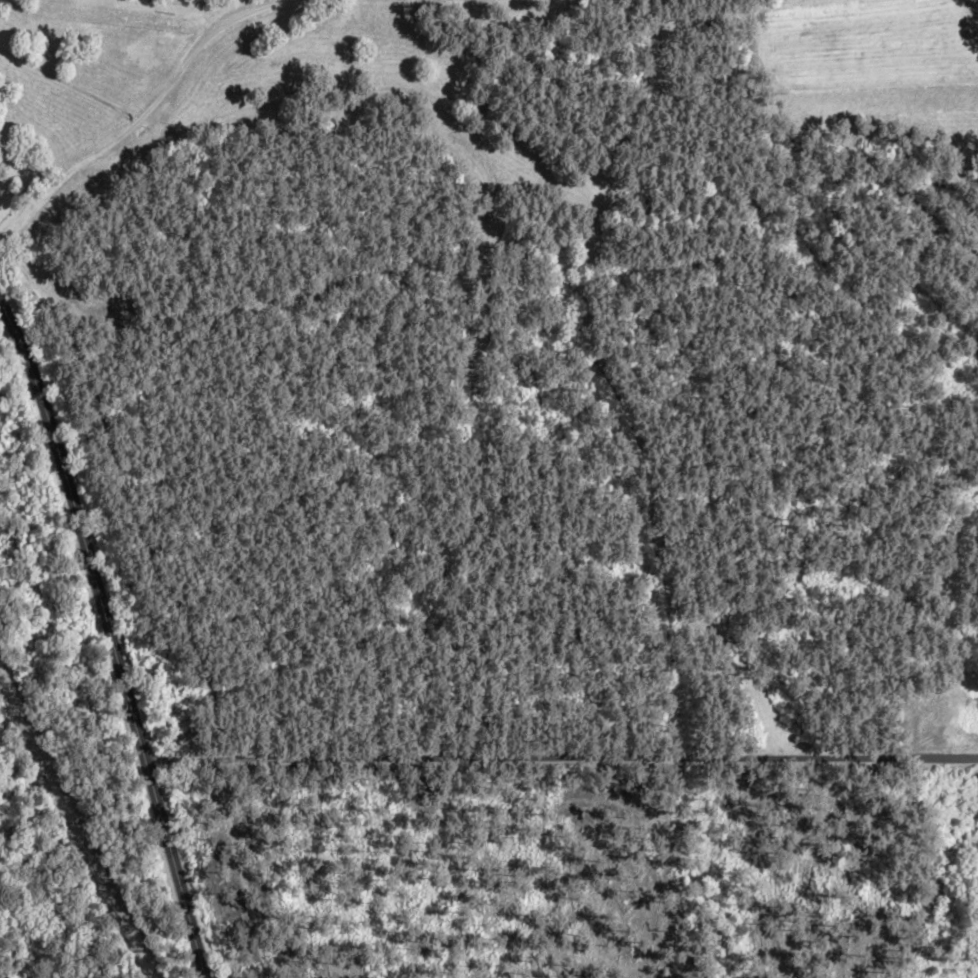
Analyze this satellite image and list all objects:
road: (135, 118)
road: (108, 639)
road: (568, 757)
road: (152, 761)

